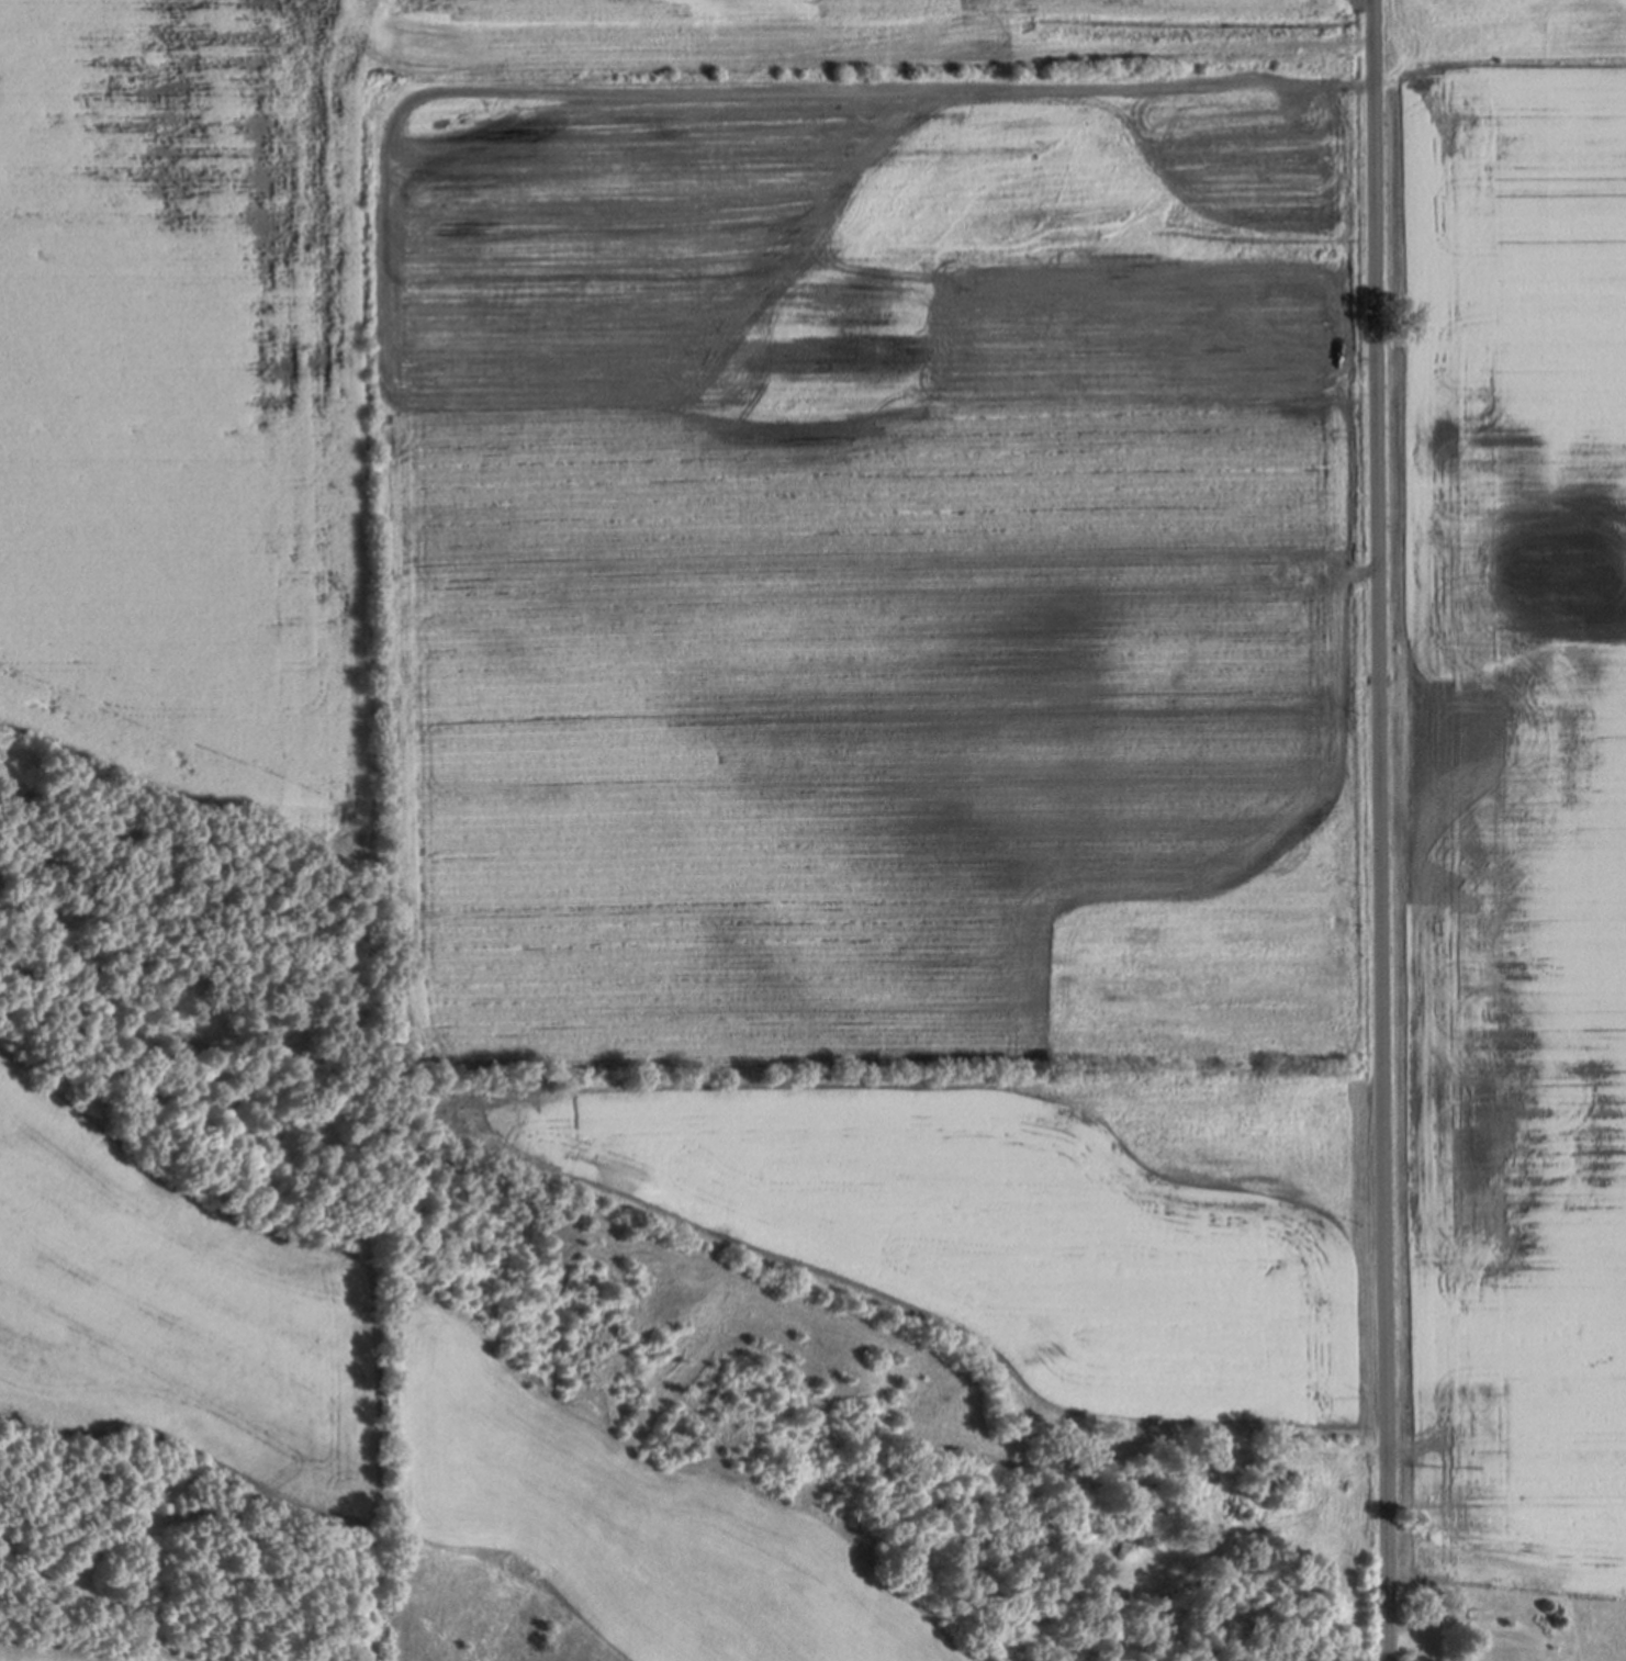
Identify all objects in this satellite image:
road: (1380, 830)
road: (102, 1544)
road: (38, 1570)

